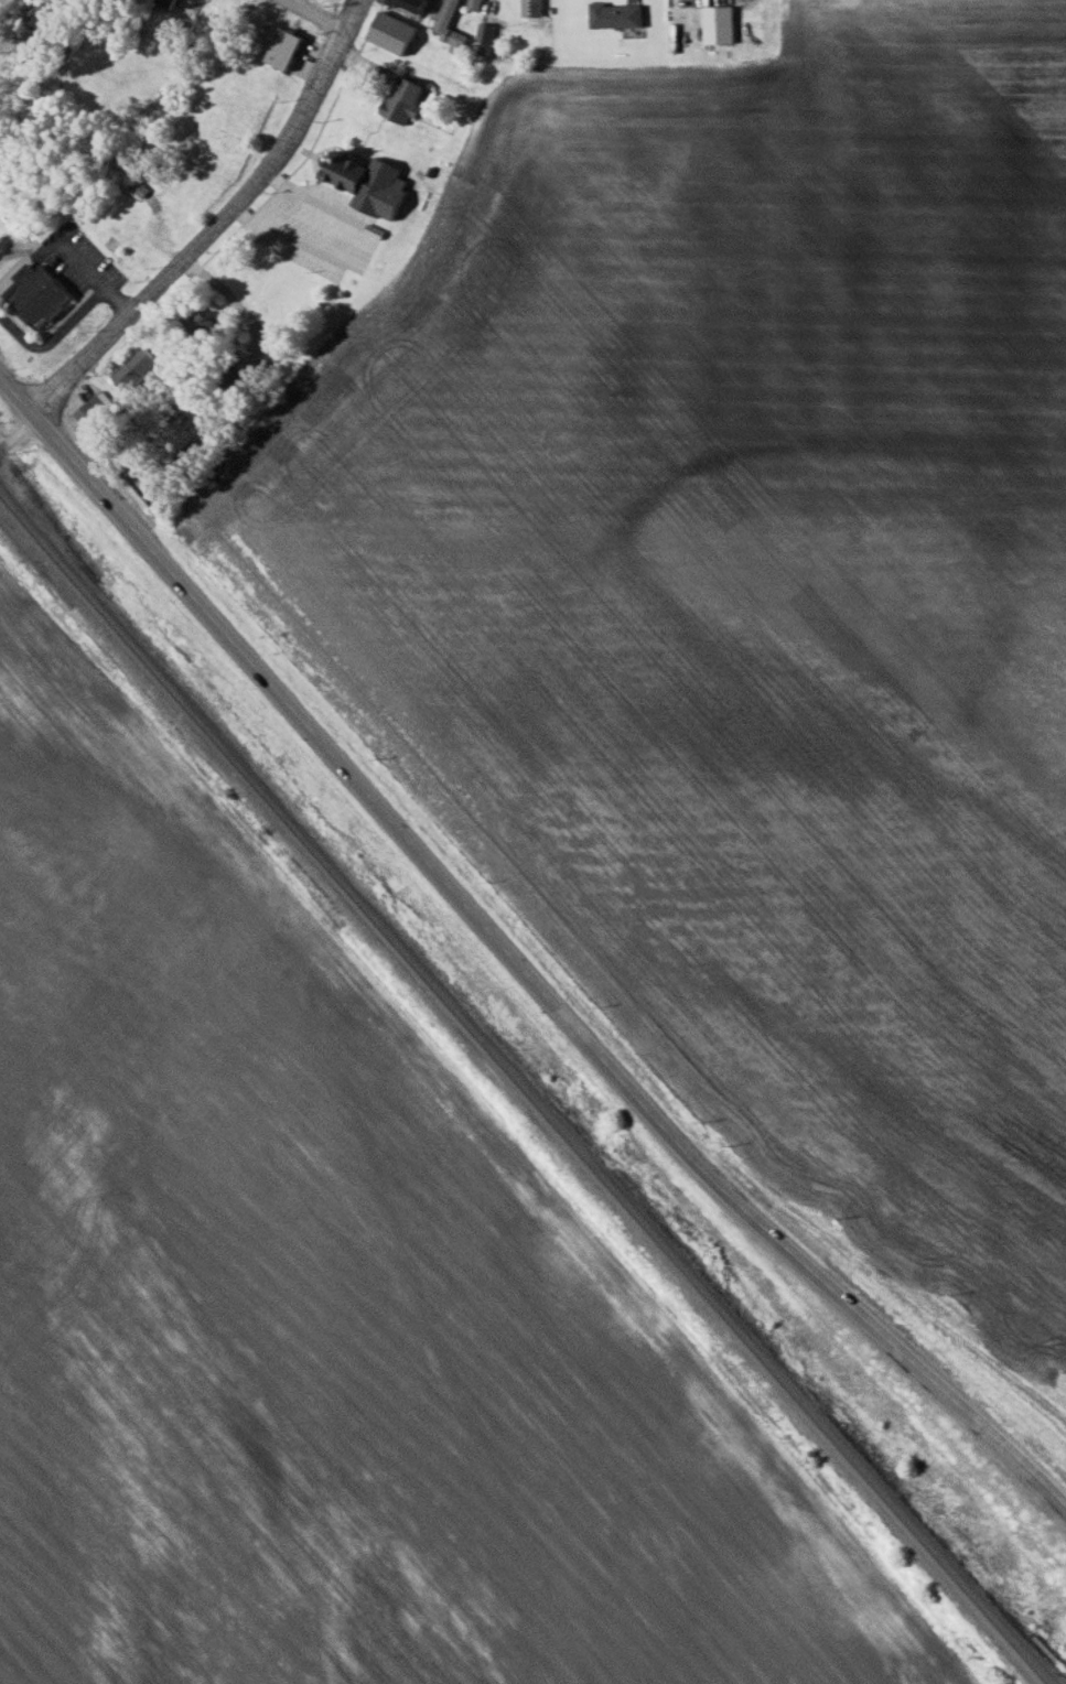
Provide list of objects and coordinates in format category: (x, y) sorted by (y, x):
building: (166, 2)
building: (472, 4)
building: (409, 6)
building: (530, 8)
road: (317, 13)
building: (613, 15)
building: (31, 23)
building: (715, 25)
building: (449, 28)
building: (390, 33)
building: (483, 33)
building: (281, 48)
building: (401, 99)
building: (367, 183)
building: (137, 187)
road: (214, 222)
road: (336, 246)
road: (73, 256)
parking lot: (74, 261)
building: (35, 294)
building: (200, 323)
building: (133, 366)
building: (230, 381)
building: (97, 419)
road: (17, 433)
building: (193, 452)
road: (118, 511)
crop: (742, 606)
railway: (519, 1092)
road: (633, 1095)

